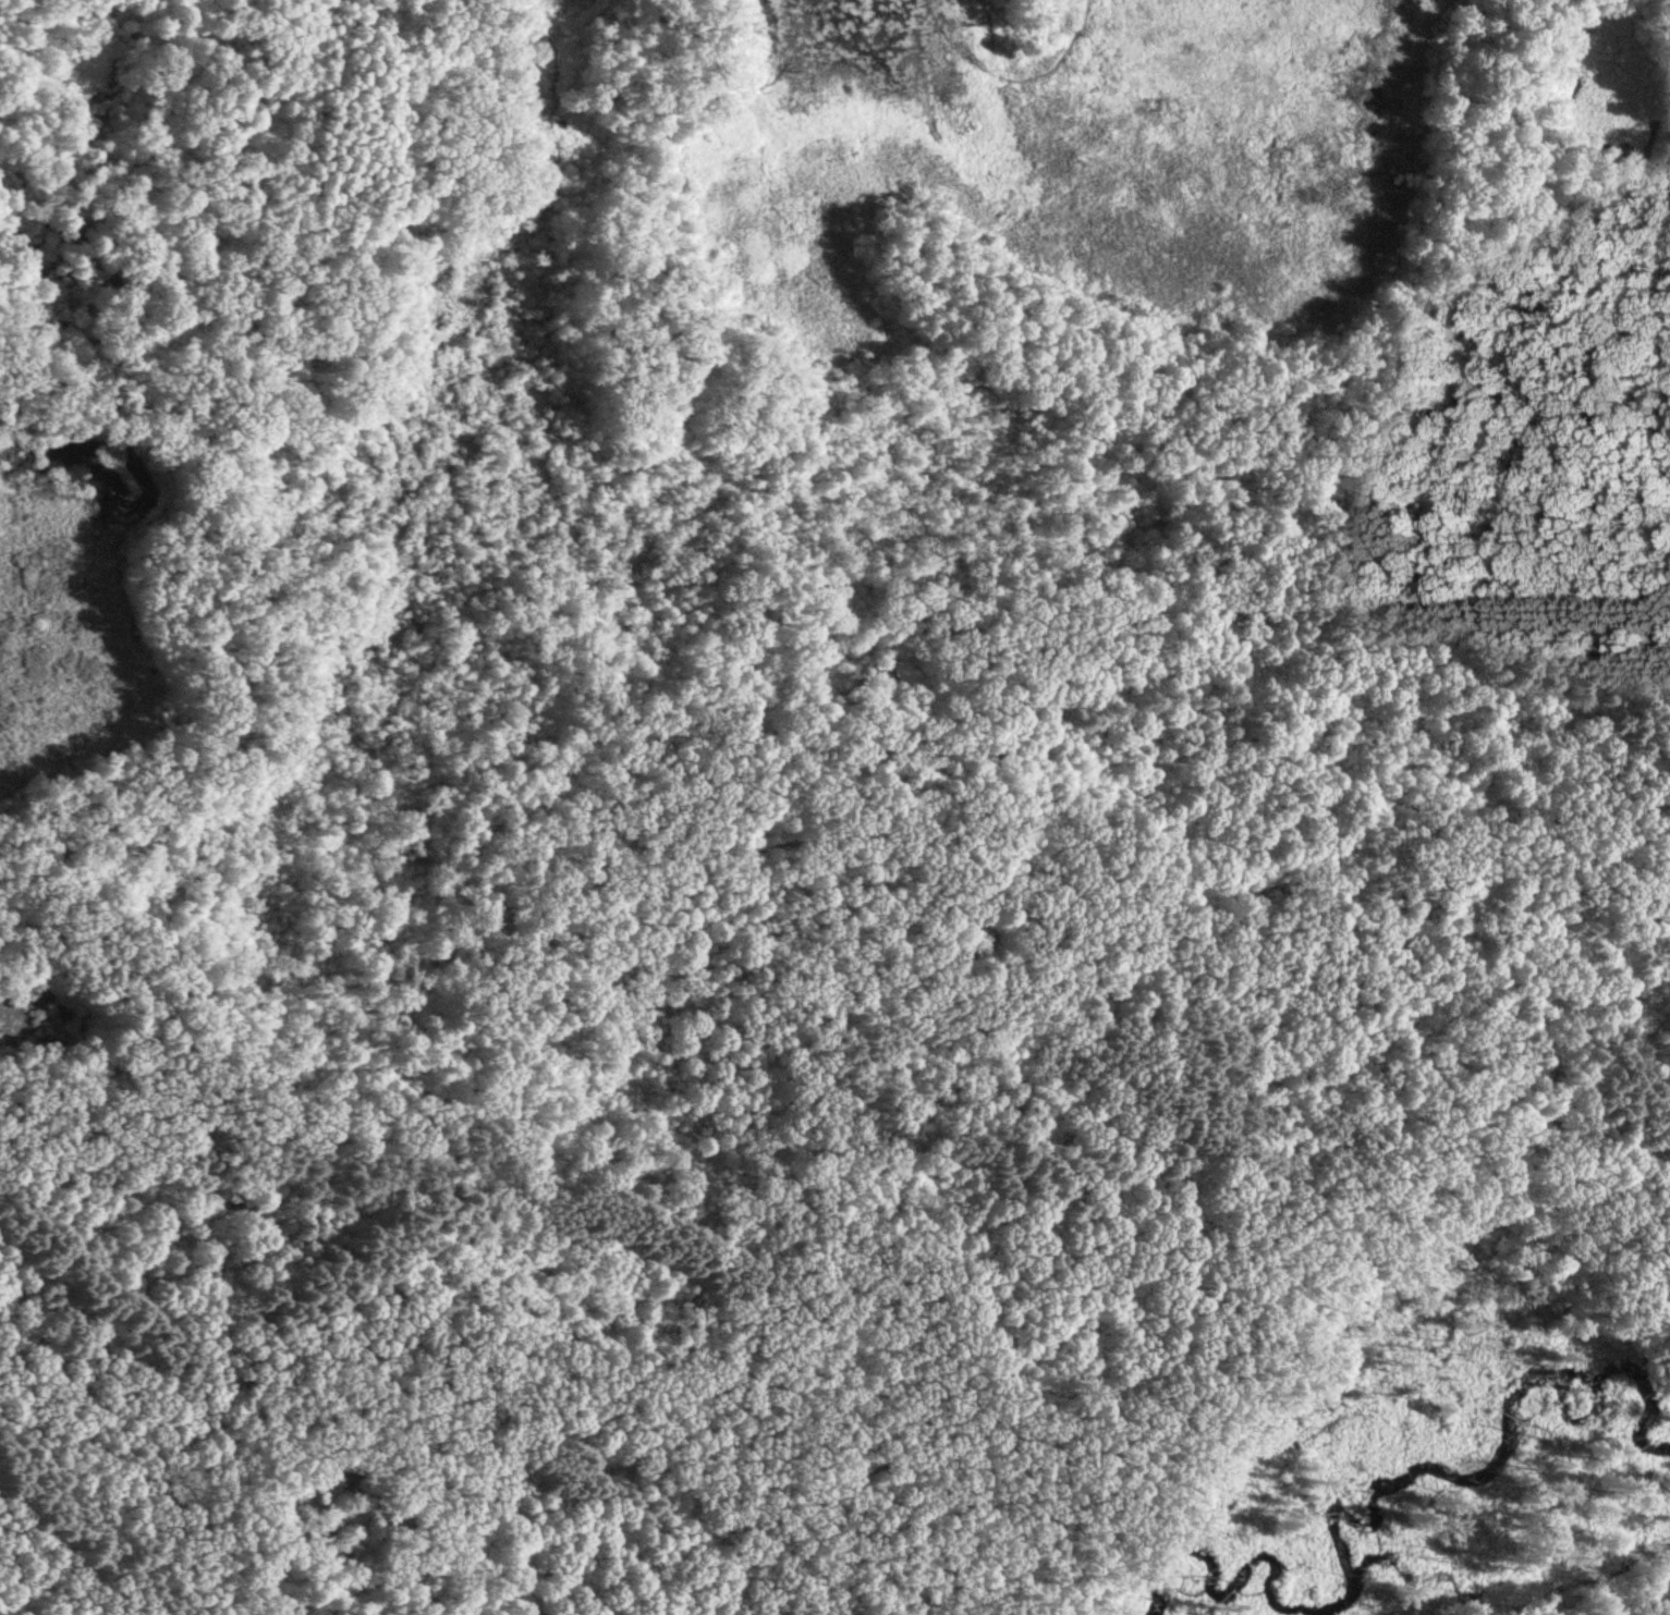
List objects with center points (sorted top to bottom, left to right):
road: (364, 272)
road: (188, 408)
road: (1645, 498)
road: (1357, 512)
road: (203, 711)
road: (799, 844)
road: (751, 1211)
road: (1139, 1274)
road: (198, 1350)
road: (69, 1590)

